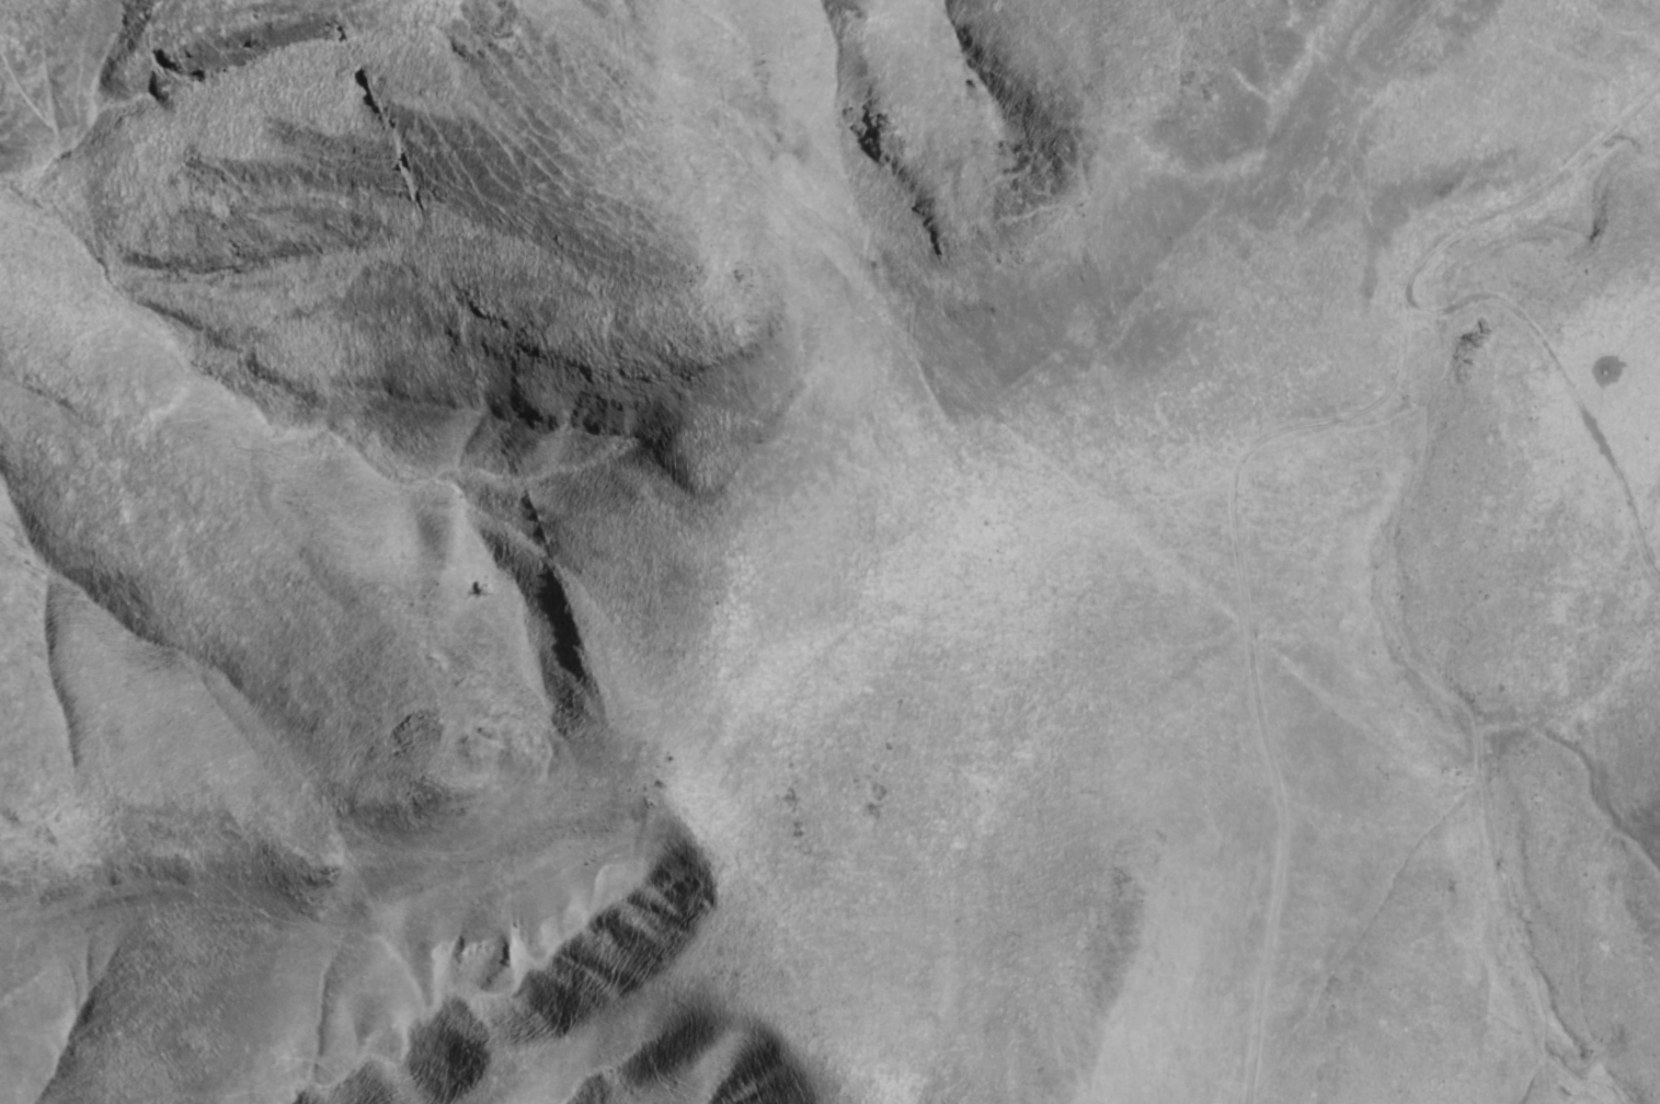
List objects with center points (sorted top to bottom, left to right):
road: (1376, 410)

